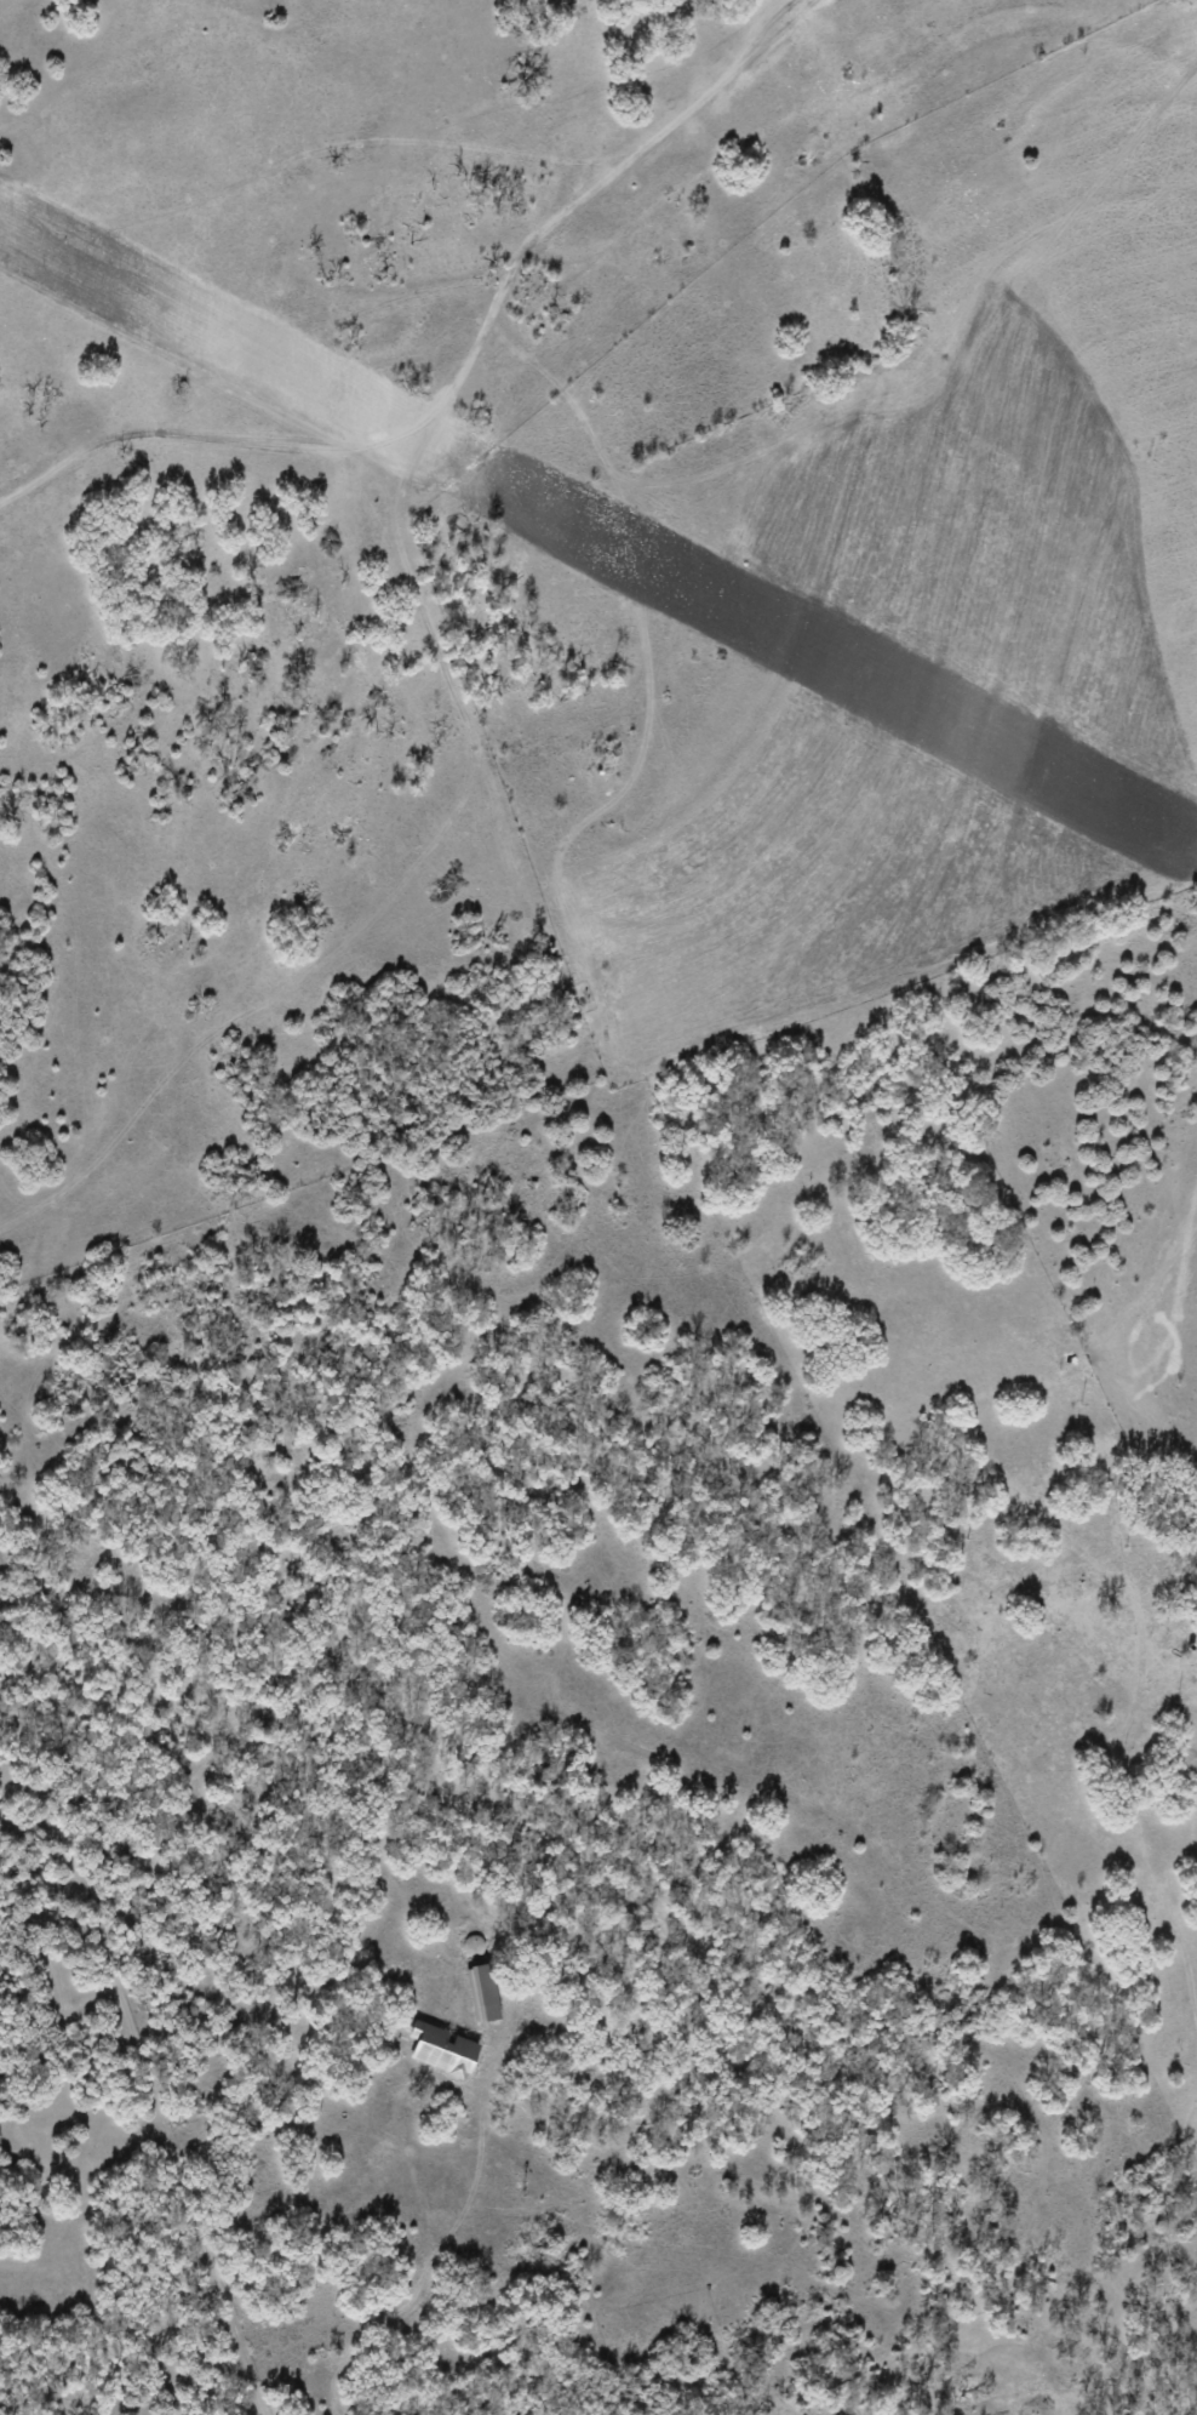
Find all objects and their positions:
quarry: (224, 95)
building: (477, 1991)
building: (435, 2046)
road: (424, 2268)

